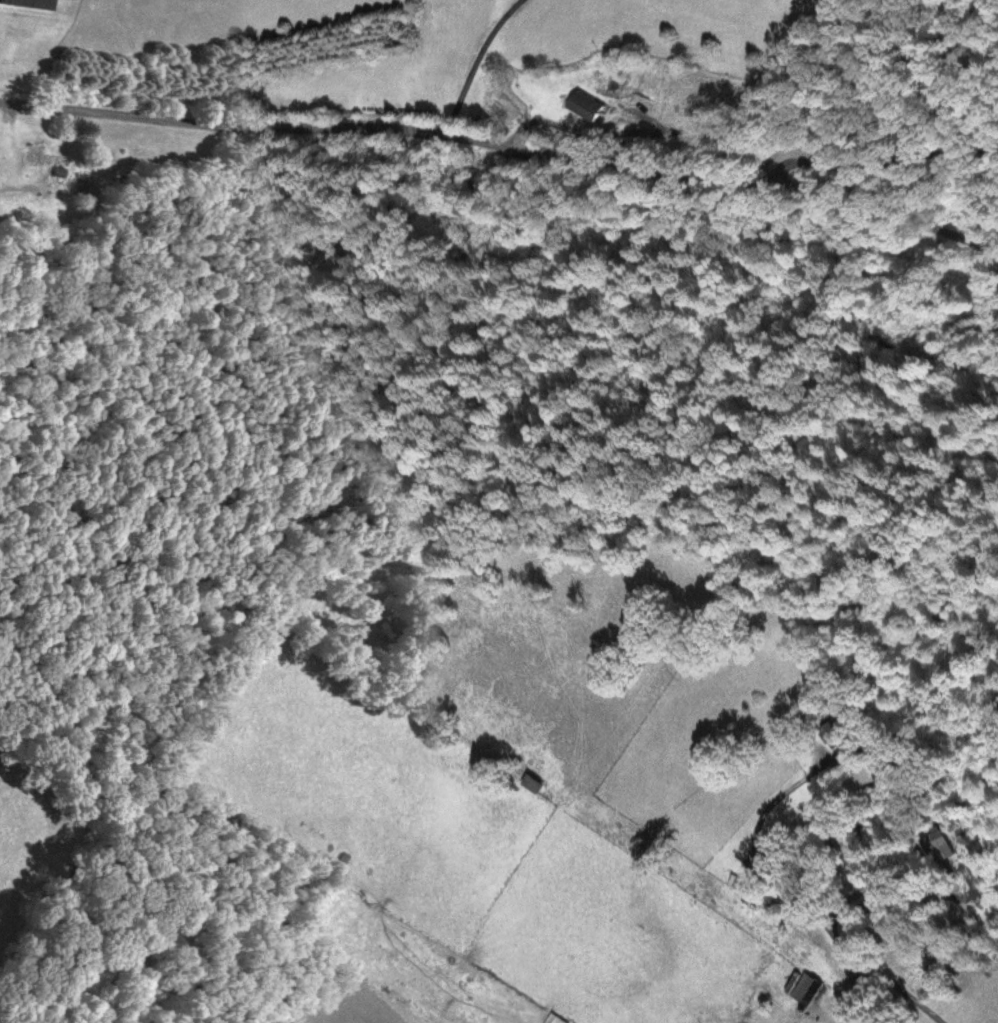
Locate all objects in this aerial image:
building: (586, 106)
road: (503, 142)
building: (38, 156)
building: (532, 786)
road: (895, 942)
building: (553, 1020)

